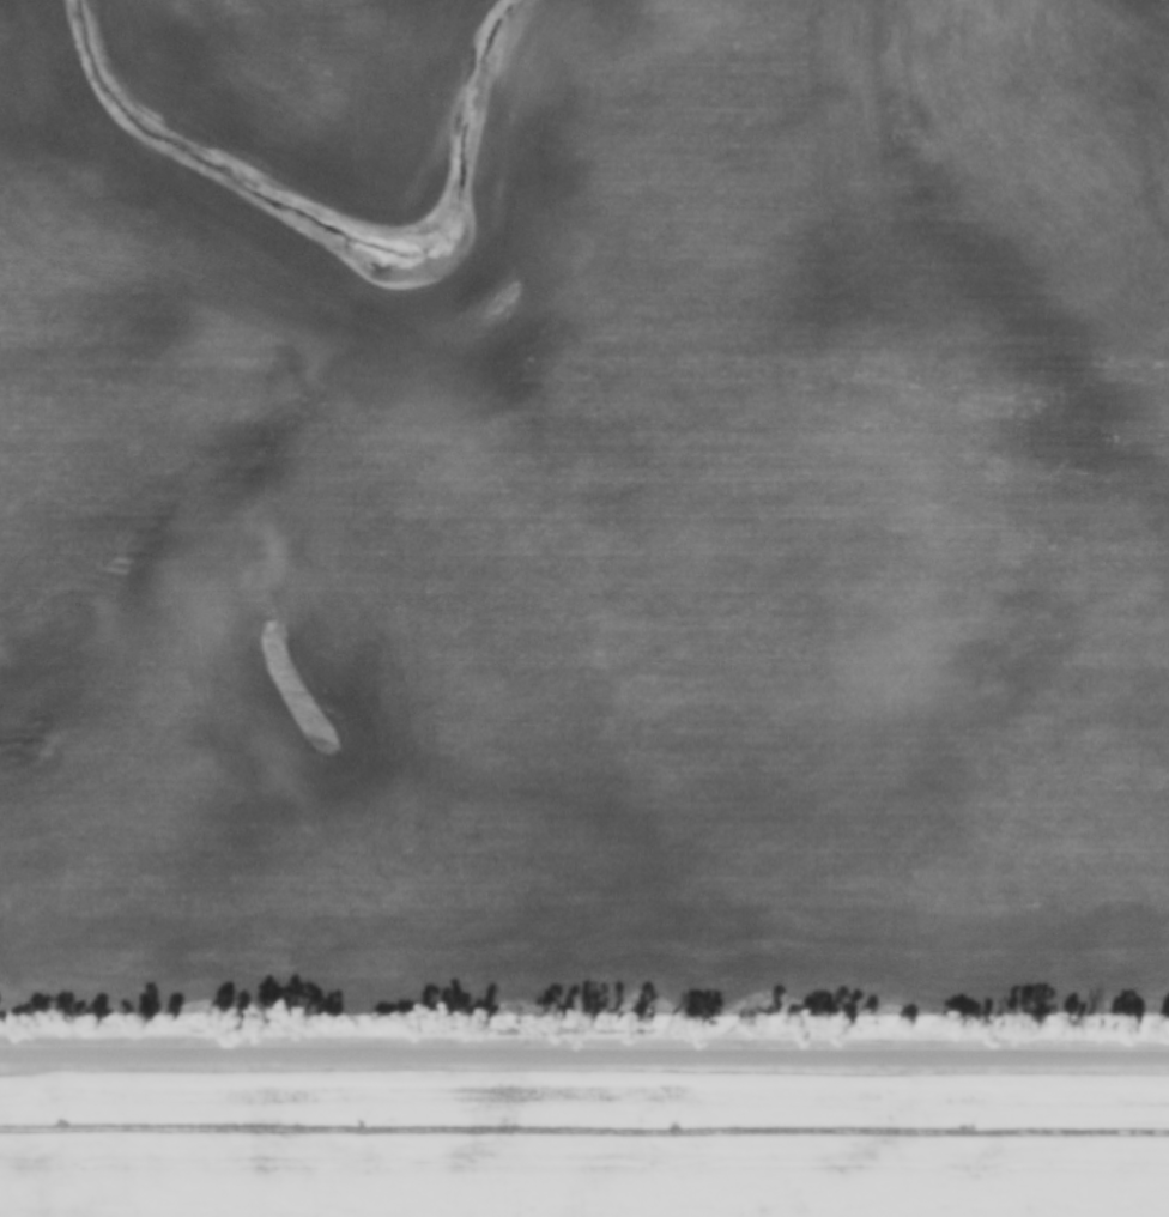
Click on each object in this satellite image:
road: (584, 1055)

